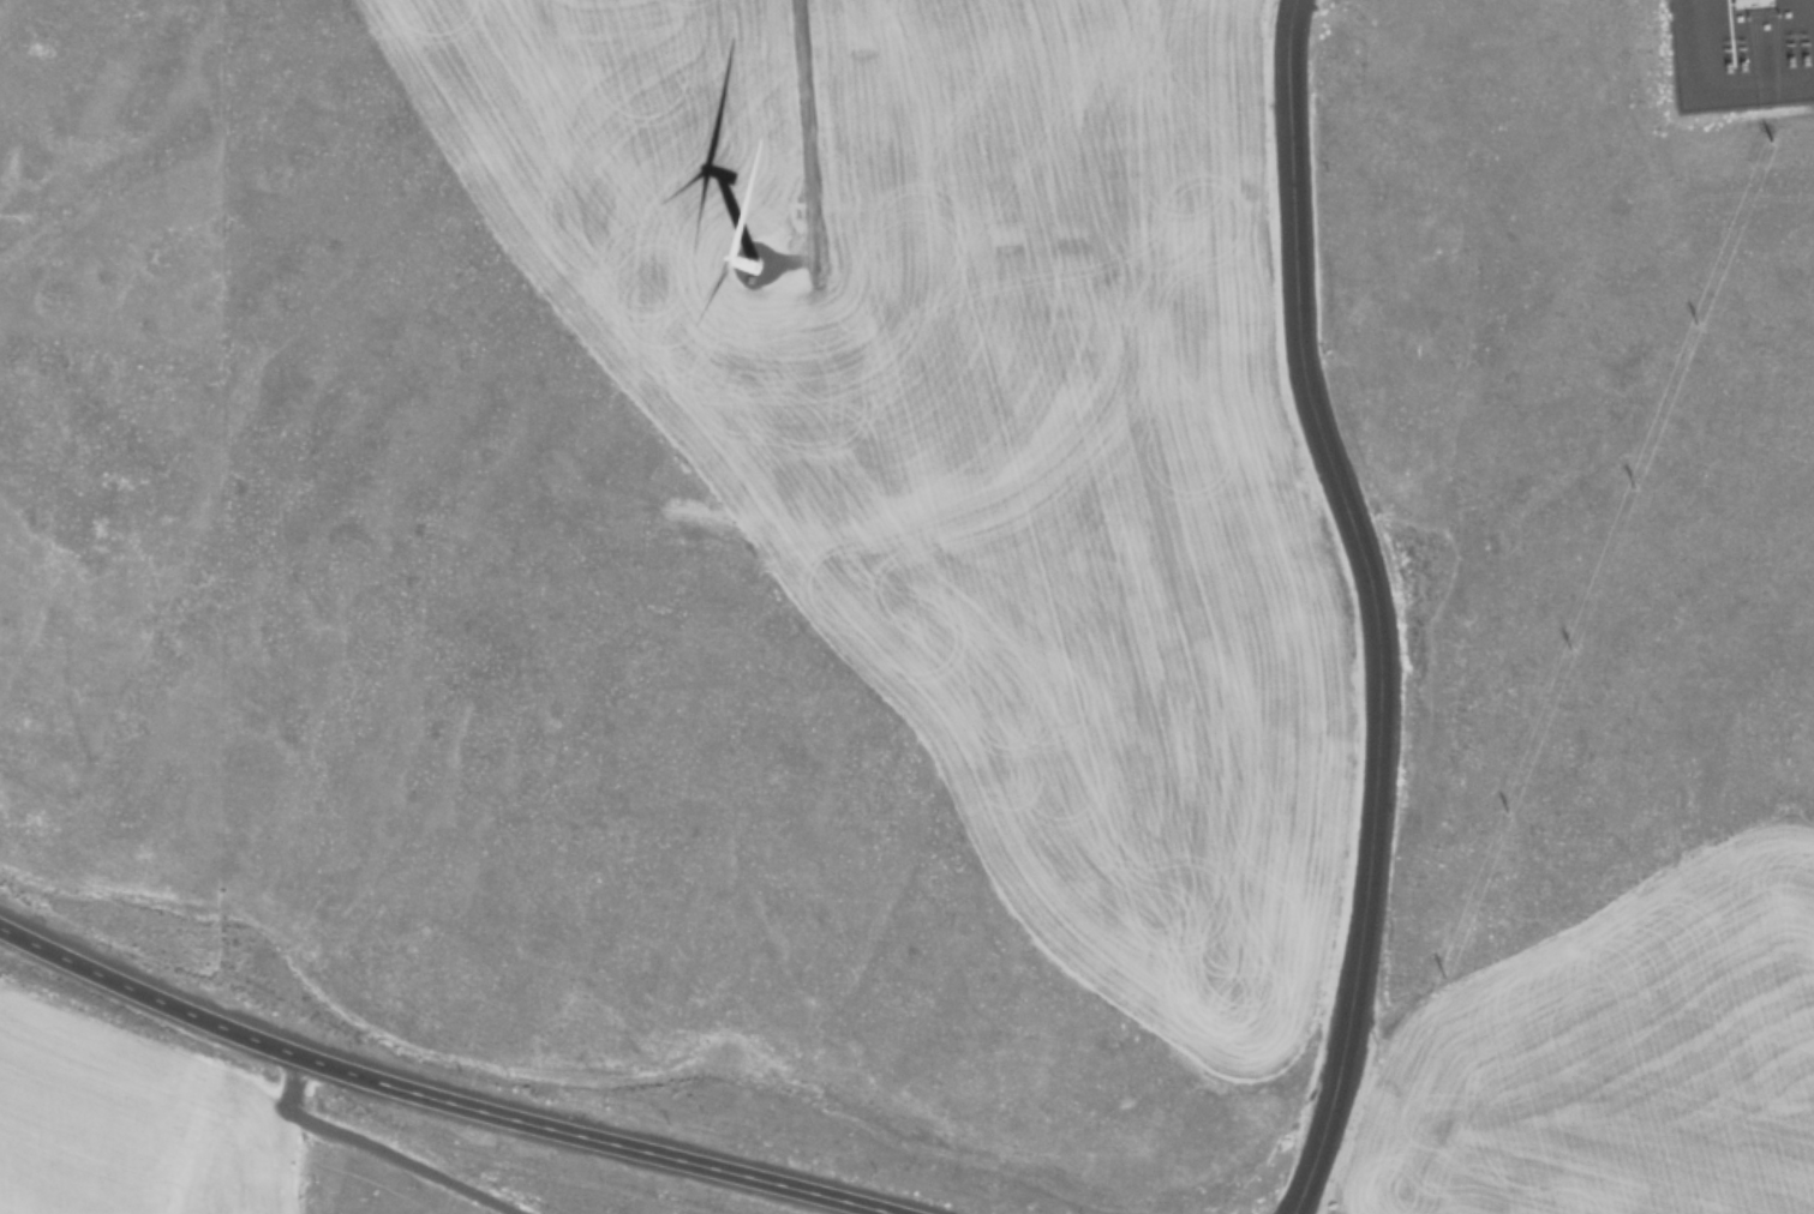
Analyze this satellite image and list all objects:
power substation: (1741, 54)
power tower: (1767, 152)
wind turbine: (744, 251)
power tower: (1692, 335)
power tower: (1633, 497)
road: (1376, 606)
power tower: (1568, 660)
power tower: (1505, 821)
power tower: (1438, 987)
road: (449, 1094)

